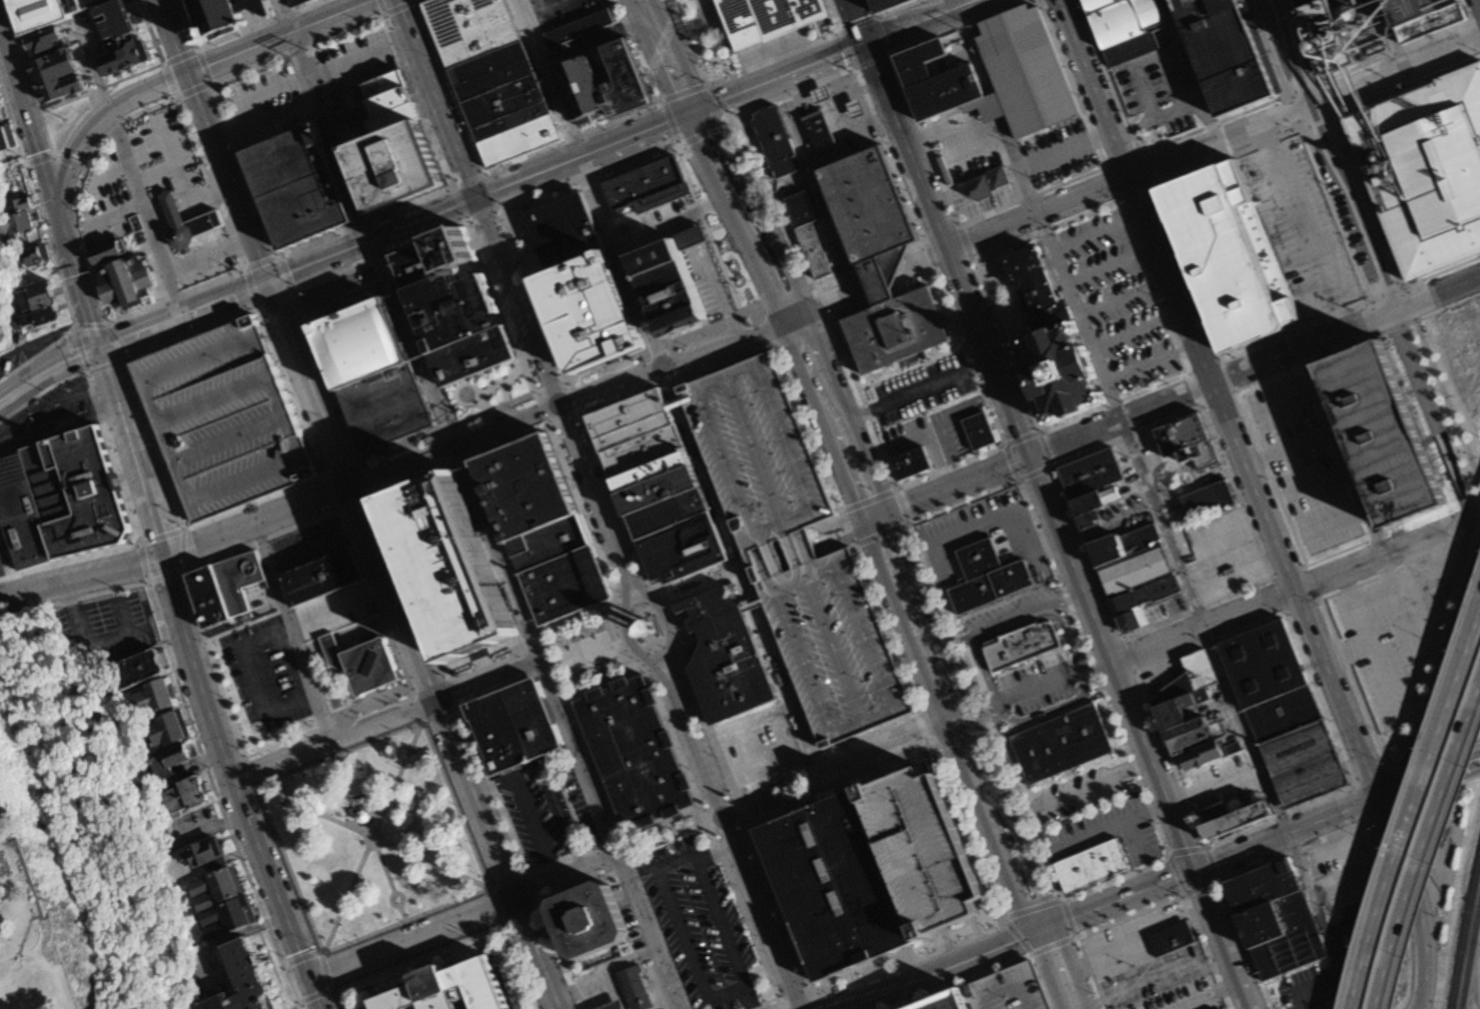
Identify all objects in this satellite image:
building: (292, 1)
road: (1479, 1)
road: (955, 3)
building: (1307, 3)
building: (885, 4)
building: (46, 9)
road: (548, 9)
parking lot: (559, 10)
road: (393, 11)
building: (229, 14)
road: (891, 14)
building: (1425, 16)
building: (767, 18)
road: (921, 21)
building: (119, 22)
road: (859, 22)
building: (579, 24)
building: (471, 27)
building: (1126, 27)
building: (1342, 32)
road: (1478, 33)
road: (236, 35)
road: (283, 39)
road: (170, 40)
building: (49, 44)
road: (590, 44)
traffic signals: (869, 44)
building: (1228, 51)
road: (1289, 52)
road: (888, 54)
building: (123, 56)
road: (786, 57)
road: (652, 59)
road: (1152, 60)
parking lot: (352, 61)
road: (1367, 66)
road: (748, 69)
building: (1026, 70)
building: (577, 73)
road: (1395, 73)
building: (59, 76)
building: (938, 79)
road: (774, 80)
traffic signals: (187, 81)
road: (286, 84)
building: (385, 85)
parking lot: (1160, 87)
building: (500, 90)
road: (79, 96)
road: (177, 97)
road: (436, 98)
building: (392, 101)
parking lot: (268, 103)
road: (281, 110)
traffic signals: (703, 110)
road: (998, 110)
building: (1, 113)
road: (1174, 115)
building: (398, 117)
road: (1330, 117)
traffic signals: (681, 119)
road: (724, 123)
road: (93, 125)
road: (1335, 128)
road: (27, 131)
road: (65, 131)
building: (821, 131)
road: (1184, 136)
building: (5, 138)
building: (520, 140)
building: (776, 141)
road: (1306, 141)
road: (671, 147)
road: (1067, 151)
road: (534, 154)
road: (57, 156)
road: (728, 157)
road: (579, 159)
road: (174, 162)
building: (397, 165)
road: (113, 170)
building: (1425, 171)
road: (1129, 177)
parking lot: (135, 179)
road: (228, 181)
building: (643, 183)
building: (984, 184)
building: (298, 185)
road: (818, 186)
road: (1153, 189)
road: (1349, 200)
road: (193, 201)
road: (1119, 202)
building: (17, 207)
road: (497, 207)
road: (776, 207)
parking lot: (1345, 211)
road: (146, 212)
road: (114, 216)
road: (670, 221)
building: (19, 223)
road: (365, 223)
road: (961, 223)
building: (187, 225)
road: (448, 228)
road: (1302, 228)
building: (566, 231)
building: (808, 232)
road: (1099, 232)
road: (373, 241)
road: (965, 241)
road: (52, 247)
road: (1021, 248)
road: (948, 250)
building: (110, 252)
road: (209, 255)
road: (280, 255)
building: (1233, 255)
building: (434, 257)
road: (923, 257)
building: (33, 258)
road: (932, 258)
parking lot: (207, 262)
building: (882, 265)
road: (1113, 267)
road: (1440, 274)
road: (711, 277)
traffic signals: (269, 282)
building: (126, 283)
road: (75, 285)
road: (1001, 286)
building: (670, 288)
building: (1040, 290)
road: (1395, 291)
road: (1437, 293)
road: (292, 295)
building: (37, 297)
road: (334, 298)
road: (1126, 299)
road: (517, 300)
parking lot: (1115, 302)
road: (1392, 302)
road: (832, 303)
road: (1408, 305)
building: (454, 306)
road: (1447, 308)
road: (130, 311)
building: (589, 311)
road: (1390, 312)
road: (750, 313)
road: (181, 315)
road: (783, 316)
building: (42, 317)
road: (1378, 325)
road: (765, 328)
road: (1139, 332)
road: (1278, 337)
road: (31, 347)
traffic signals: (94, 349)
building: (474, 355)
road: (672, 359)
road: (683, 359)
road: (971, 360)
road: (120, 362)
parking lot: (10, 364)
road: (1153, 364)
road: (911, 368)
road: (647, 369)
road: (44, 370)
building: (1065, 373)
building: (372, 374)
road: (528, 375)
road: (462, 383)
road: (502, 383)
road: (1233, 384)
road: (1207, 385)
road: (920, 389)
parking lot: (921, 391)
road: (505, 393)
park: (491, 395)
road: (1218, 397)
road: (481, 401)
road: (1219, 401)
road: (1291, 401)
road: (52, 404)
road: (1448, 404)
road: (1426, 406)
road: (489, 410)
road: (582, 413)
parking lot: (50, 416)
building: (222, 419)
parking lot: (222, 419)
building: (632, 419)
road: (342, 420)
road: (943, 423)
road: (505, 426)
road: (56, 430)
building: (980, 431)
road: (922, 433)
building: (1389, 434)
building: (1189, 440)
road: (816, 449)
road: (1289, 449)
building: (644, 451)
road: (1340, 451)
road: (697, 455)
traffic signals: (1031, 457)
road: (460, 460)
building: (913, 463)
parking lot: (1305, 465)
building: (653, 471)
building: (1093, 474)
road: (319, 477)
road: (118, 478)
road: (1018, 482)
road: (1322, 483)
traffic signals: (351, 487)
building: (526, 487)
road: (948, 489)
building: (660, 490)
road: (1236, 491)
road: (372, 495)
road: (595, 496)
building: (59, 500)
building: (1209, 500)
road: (903, 507)
building: (1090, 508)
road: (583, 513)
building: (669, 513)
road: (1336, 519)
road: (920, 522)
road: (840, 523)
road: (972, 523)
road: (229, 534)
road: (316, 542)
road: (844, 542)
building: (548, 544)
parking lot: (308, 545)
building: (1128, 546)
building: (684, 549)
building: (796, 550)
parking lot: (796, 550)
road: (1089, 554)
traffic signals: (158, 560)
road: (1248, 560)
road: (160, 566)
road: (179, 566)
building: (451, 567)
building: (1139, 572)
road: (1182, 574)
road: (699, 576)
building: (322, 577)
building: (989, 577)
road: (1365, 581)
road: (183, 585)
building: (565, 586)
road: (1294, 587)
building: (224, 589)
road: (409, 589)
road: (707, 589)
road: (0, 593)
road: (1240, 593)
road: (377, 594)
building: (1147, 595)
road: (73, 602)
road: (1400, 604)
parking lot: (340, 614)
road: (120, 617)
road: (576, 617)
road: (667, 619)
road: (1011, 620)
building: (1135, 620)
parking lot: (106, 627)
building: (646, 628)
road: (633, 629)
road: (292, 634)
road: (529, 635)
road: (624, 637)
road: (625, 637)
road: (258, 640)
parking lot: (1386, 640)
road: (98, 641)
road: (615, 641)
road: (618, 641)
road: (1370, 643)
road: (413, 645)
building: (1023, 645)
road: (533, 649)
road: (588, 652)
road: (1441, 652)
road: (582, 654)
road: (480, 655)
building: (727, 658)
road: (945, 662)
road: (528, 663)
building: (362, 664)
road: (494, 664)
building: (1265, 664)
road: (549, 666)
building: (131, 668)
road: (931, 668)
road: (985, 668)
road: (1080, 668)
road: (541, 670)
parking lot: (271, 676)
building: (1191, 677)
road: (603, 684)
parking lot: (1039, 684)
road: (1038, 687)
road: (430, 689)
road: (495, 689)
road: (409, 691)
road: (454, 694)
building: (147, 696)
road: (944, 700)
traffic signals: (436, 701)
road: (947, 703)
road: (416, 709)
road: (440, 714)
building: (1183, 714)
building: (1285, 715)
road: (1367, 719)
road: (385, 721)
road: (327, 724)
building: (514, 726)
road: (947, 729)
building: (158, 730)
road: (1139, 732)
road: (868, 734)
road: (673, 737)
building: (1191, 741)
building: (1062, 744)
road: (339, 754)
building: (631, 754)
building: (1202, 755)
building: (170, 759)
road: (937, 765)
building: (1304, 765)
road: (249, 770)
road: (213, 774)
road: (1428, 776)
road: (1398, 778)
road: (1375, 779)
road: (1213, 783)
road: (256, 784)
road: (254, 788)
road: (493, 789)
road: (1444, 790)
road: (1080, 791)
building: (179, 793)
road: (734, 793)
road: (236, 794)
road: (1342, 794)
parking lot: (1079, 795)
road: (1404, 796)
flagpole: (356, 798)
road: (798, 798)
flagpole: (367, 799)
road: (556, 799)
road: (1363, 804)
flagpole: (349, 805)
road: (455, 805)
road: (526, 806)
building: (1213, 806)
road: (1410, 807)
road: (378, 811)
parking lot: (549, 811)
road: (1388, 813)
building: (363, 817)
road: (349, 822)
building: (1238, 822)
road: (209, 826)
road: (1097, 831)
road: (1286, 831)
road: (371, 837)
park: (372, 837)
road: (372, 837)
road: (732, 837)
road: (1136, 841)
road: (1320, 841)
road: (615, 842)
building: (926, 851)
parking lot: (926, 851)
building: (199, 852)
building: (516, 852)
road: (1005, 854)
road: (1367, 854)
road: (1426, 854)
road: (1158, 862)
road: (383, 865)
road: (574, 866)
road: (659, 867)
building: (1093, 867)
parking lot: (1342, 867)
traffic signals: (1195, 869)
road: (289, 870)
road: (526, 873)
road: (530, 874)
road: (508, 880)
road: (1216, 881)
road: (533, 884)
road: (582, 886)
building: (838, 886)
road: (490, 887)
building: (1264, 887)
building: (209, 888)
road: (489, 890)
road: (276, 895)
building: (1, 896)
road: (1177, 897)
road: (1411, 900)
road: (389, 902)
road: (1113, 902)
road: (541, 903)
road: (495, 906)
road: (1026, 906)
road: (1030, 910)
road: (401, 914)
road: (716, 914)
road: (744, 914)
road: (521, 916)
building: (220, 918)
road: (1068, 919)
road: (404, 920)
building: (1277, 921)
road: (501, 922)
road: (1356, 922)
road: (504, 923)
building: (591, 923)
parking lot: (697, 924)
traffic signals: (1053, 926)
railway: (1463, 928)
road: (648, 929)
road: (422, 933)
traffic signals: (1032, 934)
flagpole: (487, 937)
building: (1172, 938)
road: (460, 940)
flagpole: (480, 940)
parking lot: (1339, 942)
flagpole: (473, 943)
road: (318, 951)
road: (688, 951)
road: (1145, 951)
road: (1105, 953)
building: (1290, 953)
road: (1031, 954)
road: (321, 955)
parking lot: (1126, 956)
road: (1333, 956)
road: (301, 957)
road: (562, 958)
railway: (1471, 958)
road: (420, 960)
road: (284, 965)
road: (751, 968)
road: (936, 971)
road: (992, 971)
road: (1048, 971)
road: (1090, 972)
road: (325, 973)
building: (245, 976)
traffic signals: (309, 979)
road: (289, 984)
road: (1283, 985)
road: (1315, 987)
road: (332, 990)
building: (448, 990)
building: (1008, 990)
parking garage: (1008, 990)
road: (1124, 990)
building: (636, 991)
road: (808, 991)
road: (316, 995)
road: (1208, 996)
parking lot: (1185, 997)
road: (337, 1000)
road: (1225, 1000)
road: (299, 1002)
road: (780, 1002)
building: (947, 1002)
road: (297, 1006)
building: (613, 1006)

